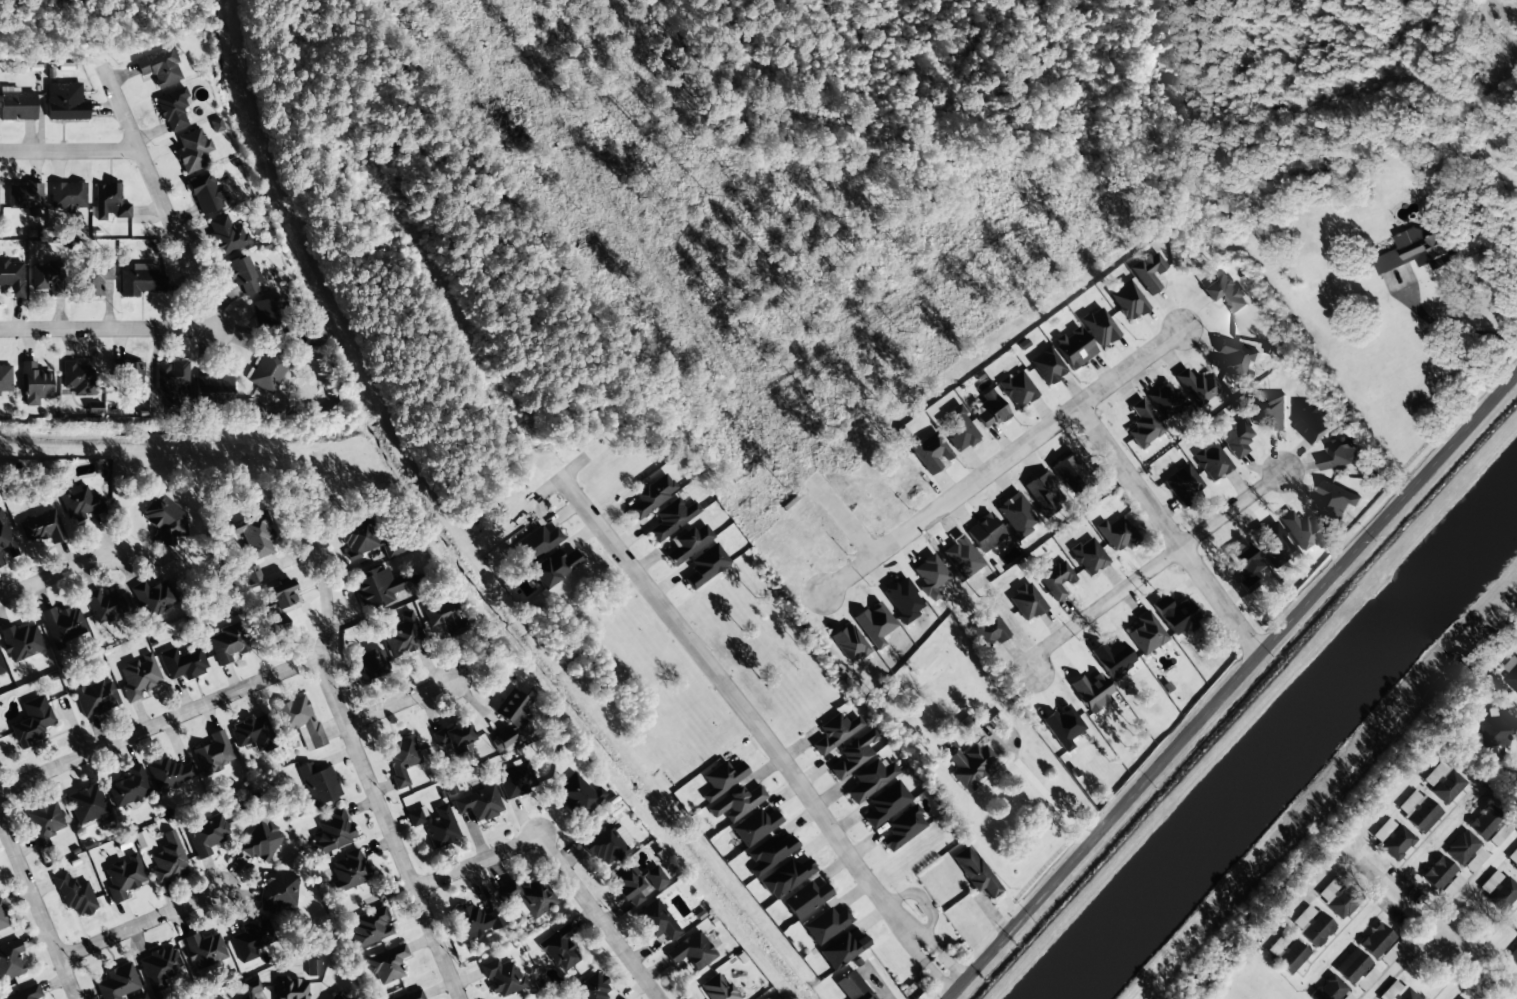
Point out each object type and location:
building: (160, 67)
building: (64, 102)
building: (17, 106)
building: (172, 109)
building: (216, 126)
road: (69, 151)
building: (191, 151)
building: (206, 195)
building: (24, 196)
building: (67, 197)
road: (159, 197)
building: (109, 203)
building: (225, 235)
building: (1416, 249)
building: (1148, 272)
building: (241, 275)
building: (11, 276)
building: (46, 276)
building: (90, 279)
building: (141, 280)
building: (1226, 294)
building: (1127, 300)
building: (267, 312)
building: (1099, 327)
road: (108, 328)
building: (1074, 348)
building: (1233, 358)
building: (1047, 366)
building: (267, 371)
building: (78, 379)
building: (127, 379)
building: (4, 380)
building: (33, 384)
building: (172, 384)
building: (1198, 387)
building: (1017, 389)
building: (212, 391)
building: (1164, 401)
building: (990, 410)
building: (1269, 411)
building: (1313, 423)
building: (1143, 425)
building: (959, 430)
building: (1233, 436)
building: (930, 453)
building: (1339, 453)
road: (1002, 460)
building: (1212, 462)
building: (1071, 474)
road: (1126, 477)
building: (1183, 484)
building: (1044, 494)
building: (651, 495)
building: (1336, 500)
building: (78, 502)
building: (1016, 516)
building: (165, 518)
road: (842, 518)
building: (670, 519)
building: (40, 527)
building: (1302, 530)
building: (984, 533)
building: (1115, 533)
building: (252, 535)
building: (365, 541)
building: (5, 543)
building: (537, 543)
building: (686, 544)
building: (1272, 544)
building: (1088, 555)
building: (1243, 564)
building: (705, 566)
building: (553, 568)
road: (1147, 569)
road: (55, 577)
building: (929, 577)
building: (1057, 580)
building: (378, 586)
building: (153, 598)
building: (280, 599)
building: (903, 600)
building: (1026, 602)
road: (1219, 603)
building: (104, 606)
building: (1175, 616)
building: (445, 617)
building: (874, 624)
building: (278, 625)
building: (63, 626)
road: (324, 627)
building: (986, 630)
building: (403, 634)
building: (1146, 634)
building: (21, 640)
building: (226, 643)
building: (849, 643)
building: (1112, 658)
building: (182, 663)
building: (368, 665)
building: (1, 668)
building: (137, 676)
building: (1511, 677)
road: (1234, 688)
building: (1091, 691)
building: (94, 696)
road: (401, 702)
building: (511, 708)
building: (298, 720)
building: (30, 722)
road: (160, 725)
building: (1062, 726)
road: (758, 730)
building: (1493, 730)
building: (834, 732)
building: (252, 733)
building: (452, 736)
building: (853, 753)
building: (213, 754)
building: (399, 758)
building: (970, 763)
building: (167, 772)
building: (722, 779)
building: (869, 779)
building: (514, 780)
building: (1442, 782)
building: (317, 783)
building: (1515, 785)
building: (128, 787)
building: (577, 796)
building: (479, 803)
building: (736, 803)
building: (85, 804)
building: (886, 804)
building: (1417, 811)
building: (43, 822)
building: (1485, 822)
building: (435, 824)
building: (755, 826)
road: (390, 828)
building: (903, 828)
building: (1382, 830)
building: (331, 832)
building: (206, 834)
building: (260, 842)
building: (1396, 843)
building: (603, 847)
building: (1460, 847)
road: (1344, 852)
building: (770, 854)
building: (1513, 855)
building: (167, 859)
road: (477, 862)
building: (1515, 867)
building: (347, 871)
building: (974, 871)
building: (1437, 873)
building: (122, 876)
building: (786, 877)
building: (1493, 877)
building: (654, 878)
building: (627, 884)
road: (1465, 889)
road: (30, 890)
building: (277, 891)
road: (1392, 893)
building: (73, 895)
building: (528, 895)
building: (1502, 895)
building: (1338, 898)
building: (806, 899)
road: (599, 917)
building: (2, 920)
building: (655, 921)
building: (473, 922)
building: (826, 925)
road: (141, 926)
building: (369, 926)
building: (1315, 929)
building: (251, 939)
building: (1379, 944)
building: (559, 949)
building: (204, 950)
building: (841, 950)
building: (691, 951)
building: (1289, 956)
building: (1513, 956)
building: (9, 960)
road: (1400, 962)
building: (386, 964)
building: (1351, 966)
road: (1473, 966)
building: (160, 967)
building: (313, 968)
building: (501, 978)
building: (1365, 979)
road: (67, 980)
building: (118, 983)
building: (852, 986)
building: (590, 987)
building: (290, 988)
building: (249, 989)
building: (718, 989)
building: (1328, 989)
building: (1396, 991)
building: (24, 993)
building: (411, 995)
building: (338, 996)
building: (221, 998)
building: (1461, 998)

